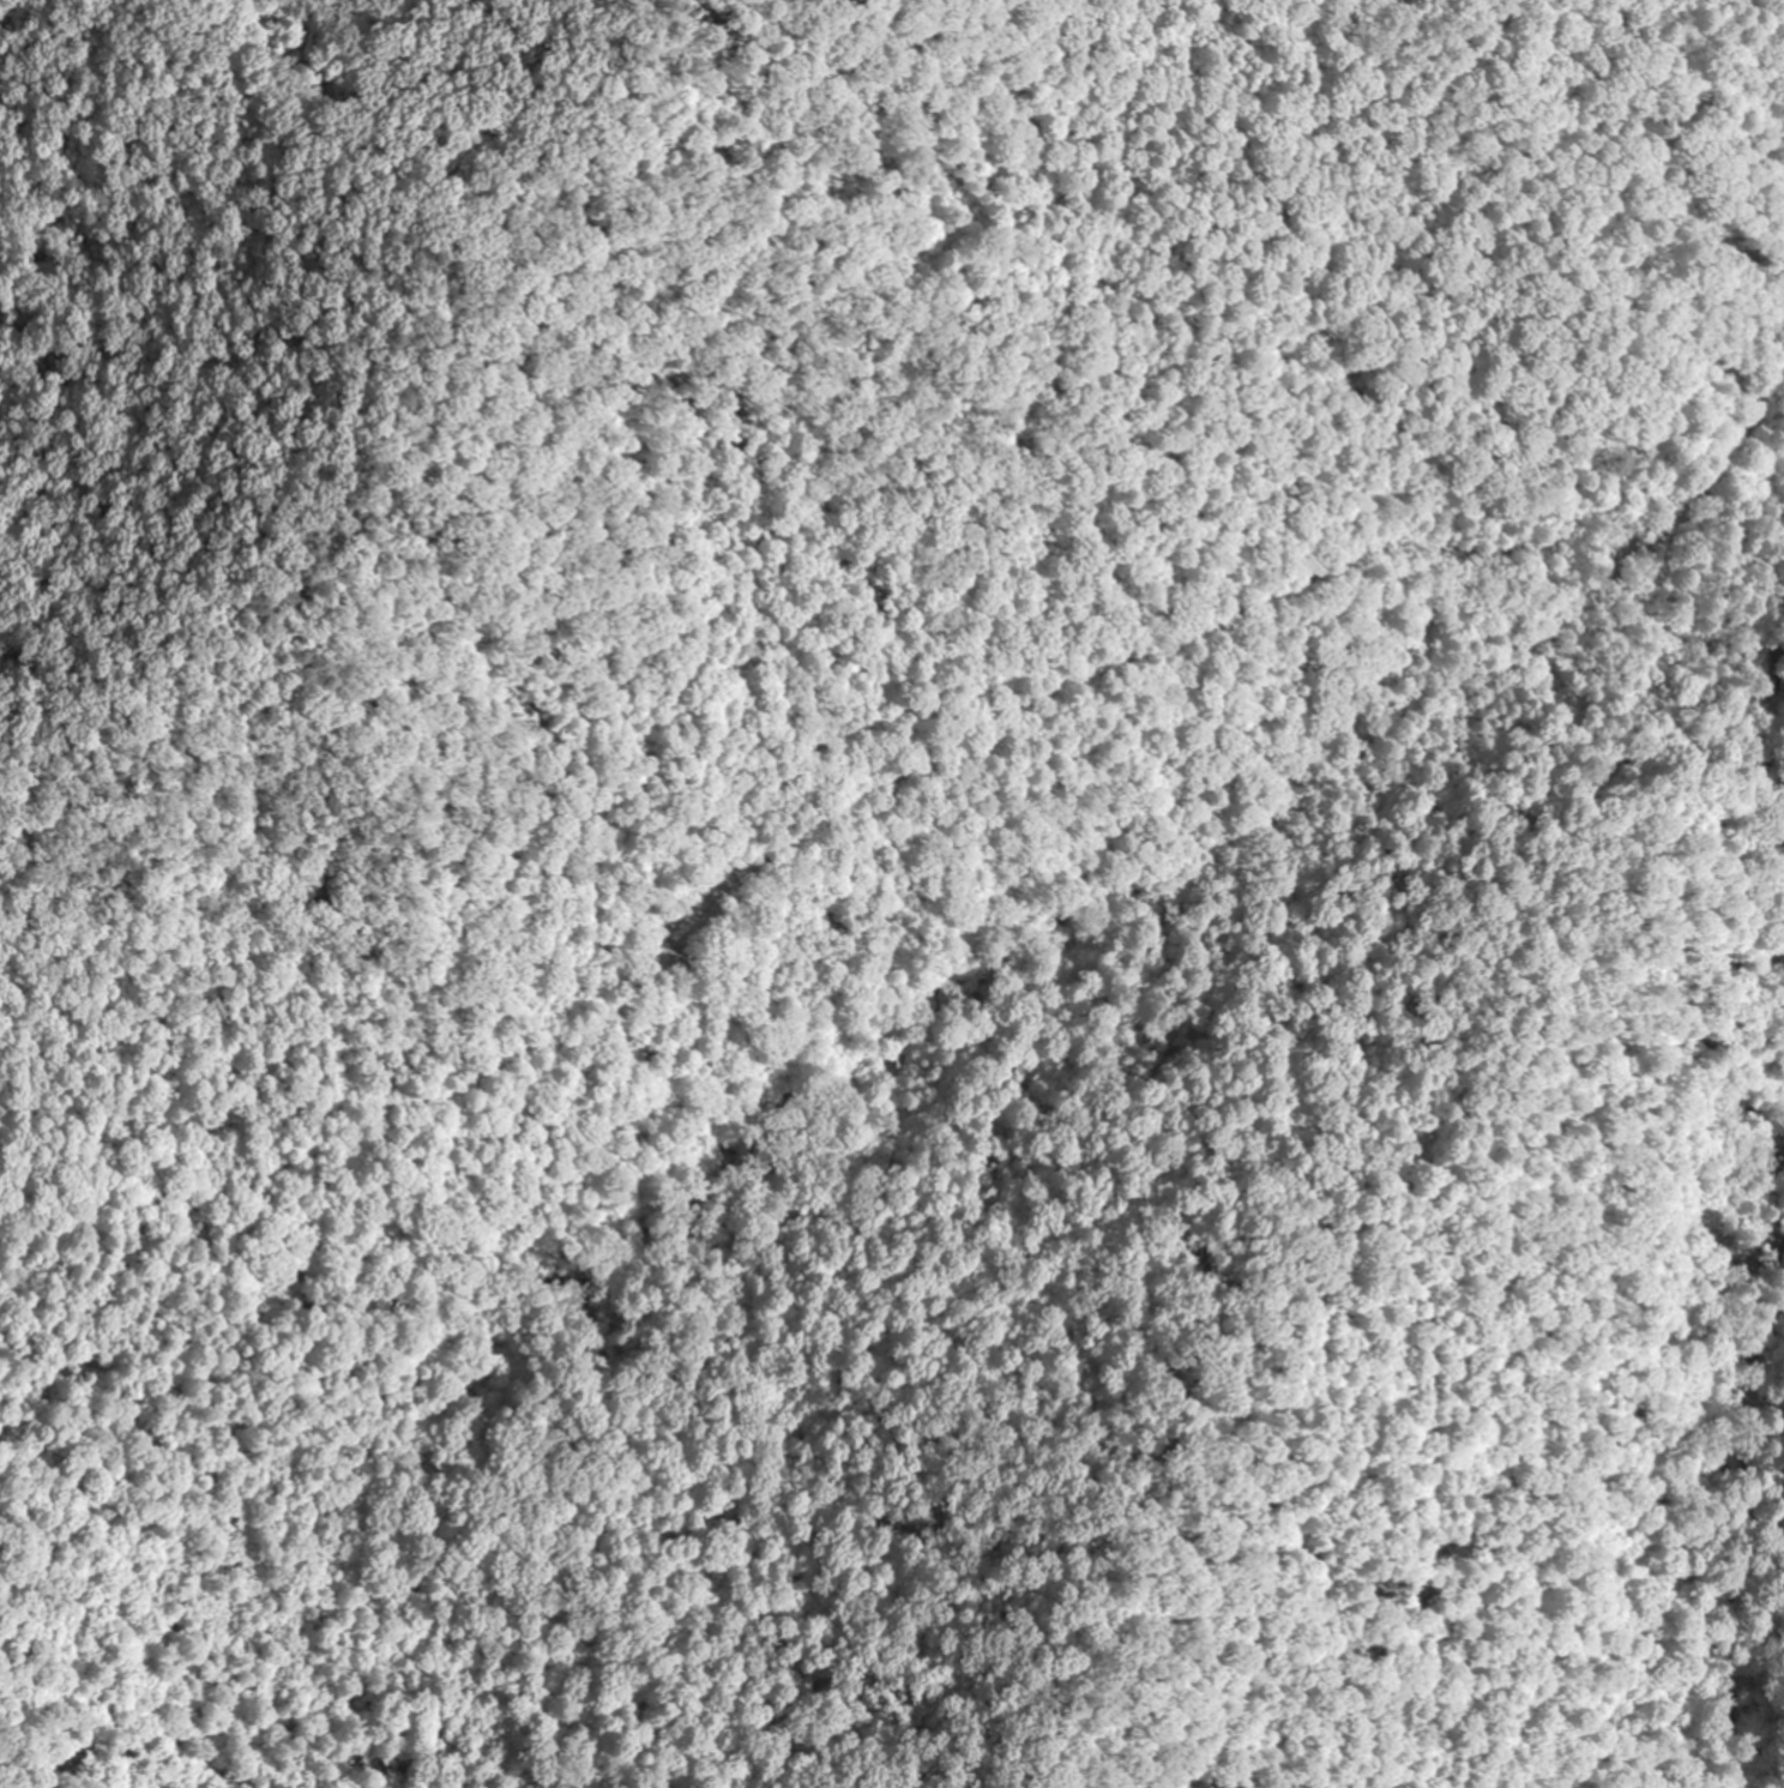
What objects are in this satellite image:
road: (1725, 466)

